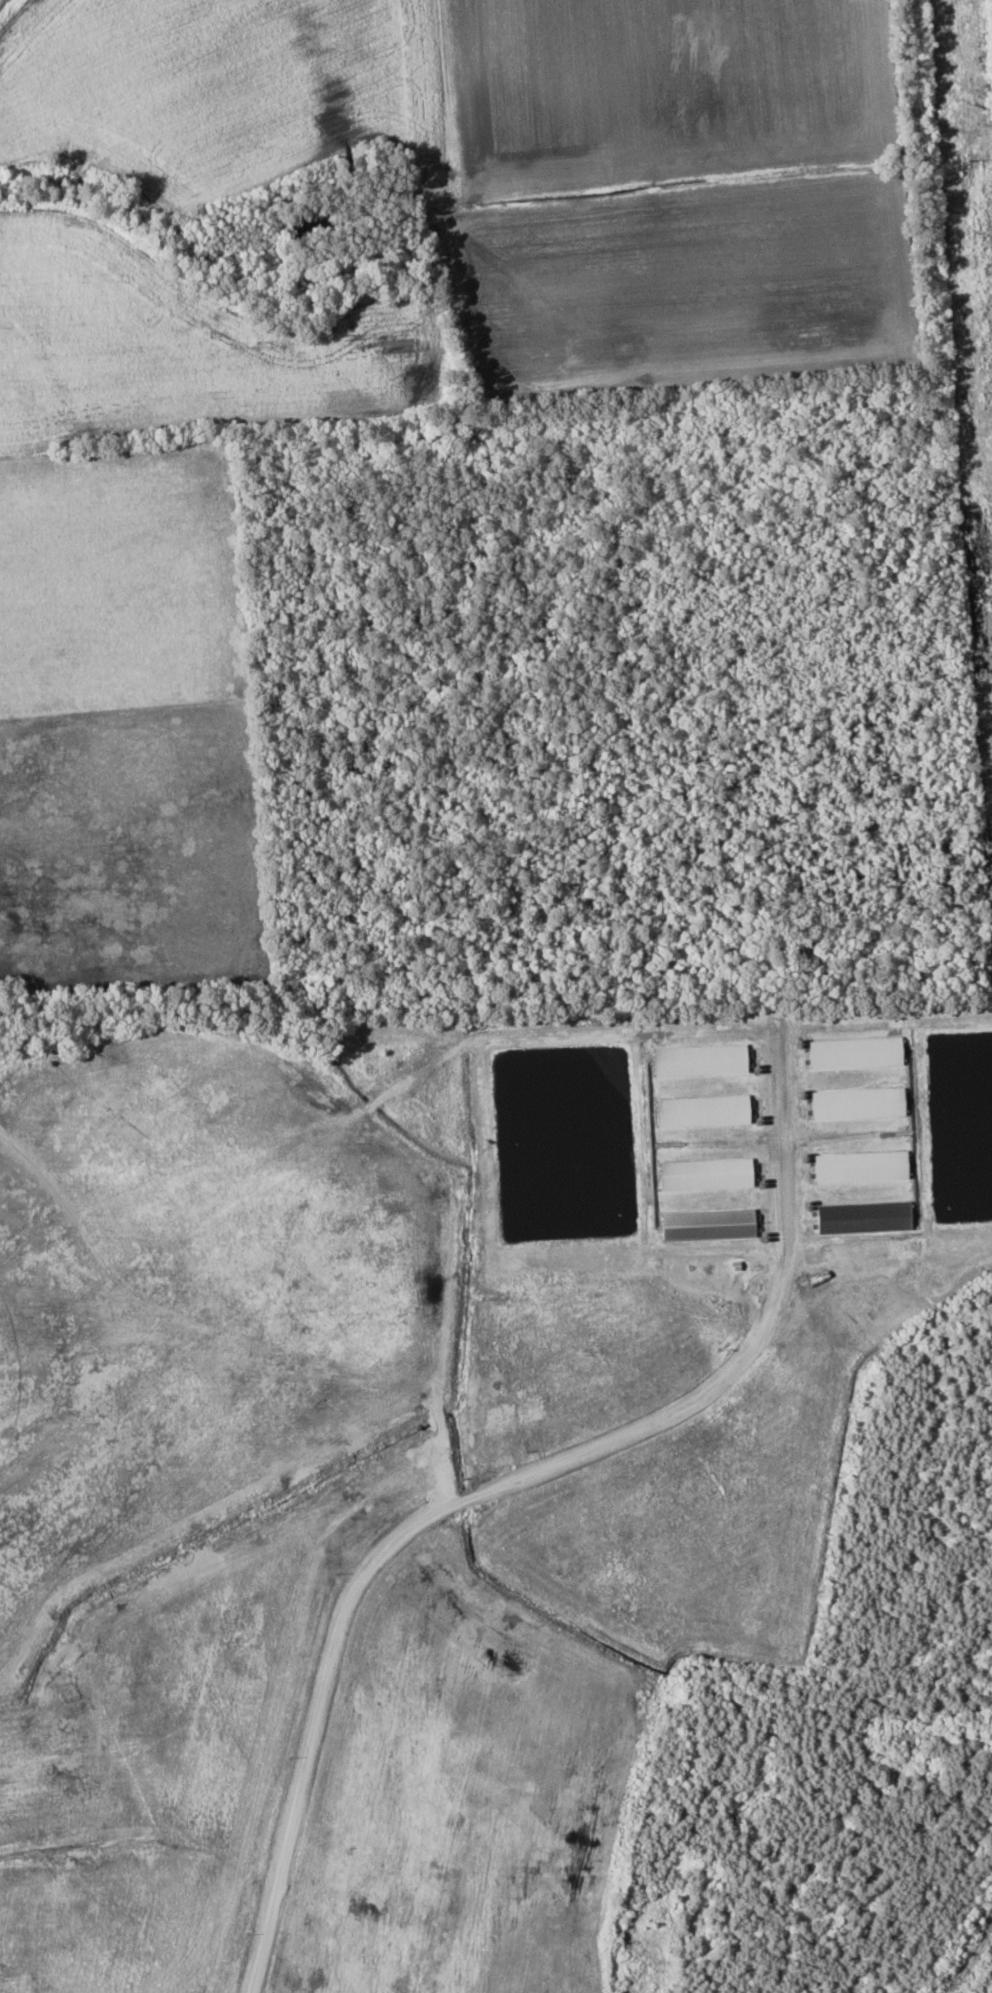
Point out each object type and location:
power tower: (973, 159)
building: (853, 1052)
building: (698, 1059)
building: (855, 1103)
building: (700, 1110)
building: (859, 1166)
building: (704, 1173)
building: (861, 1216)
building: (705, 1224)
road: (499, 1486)

